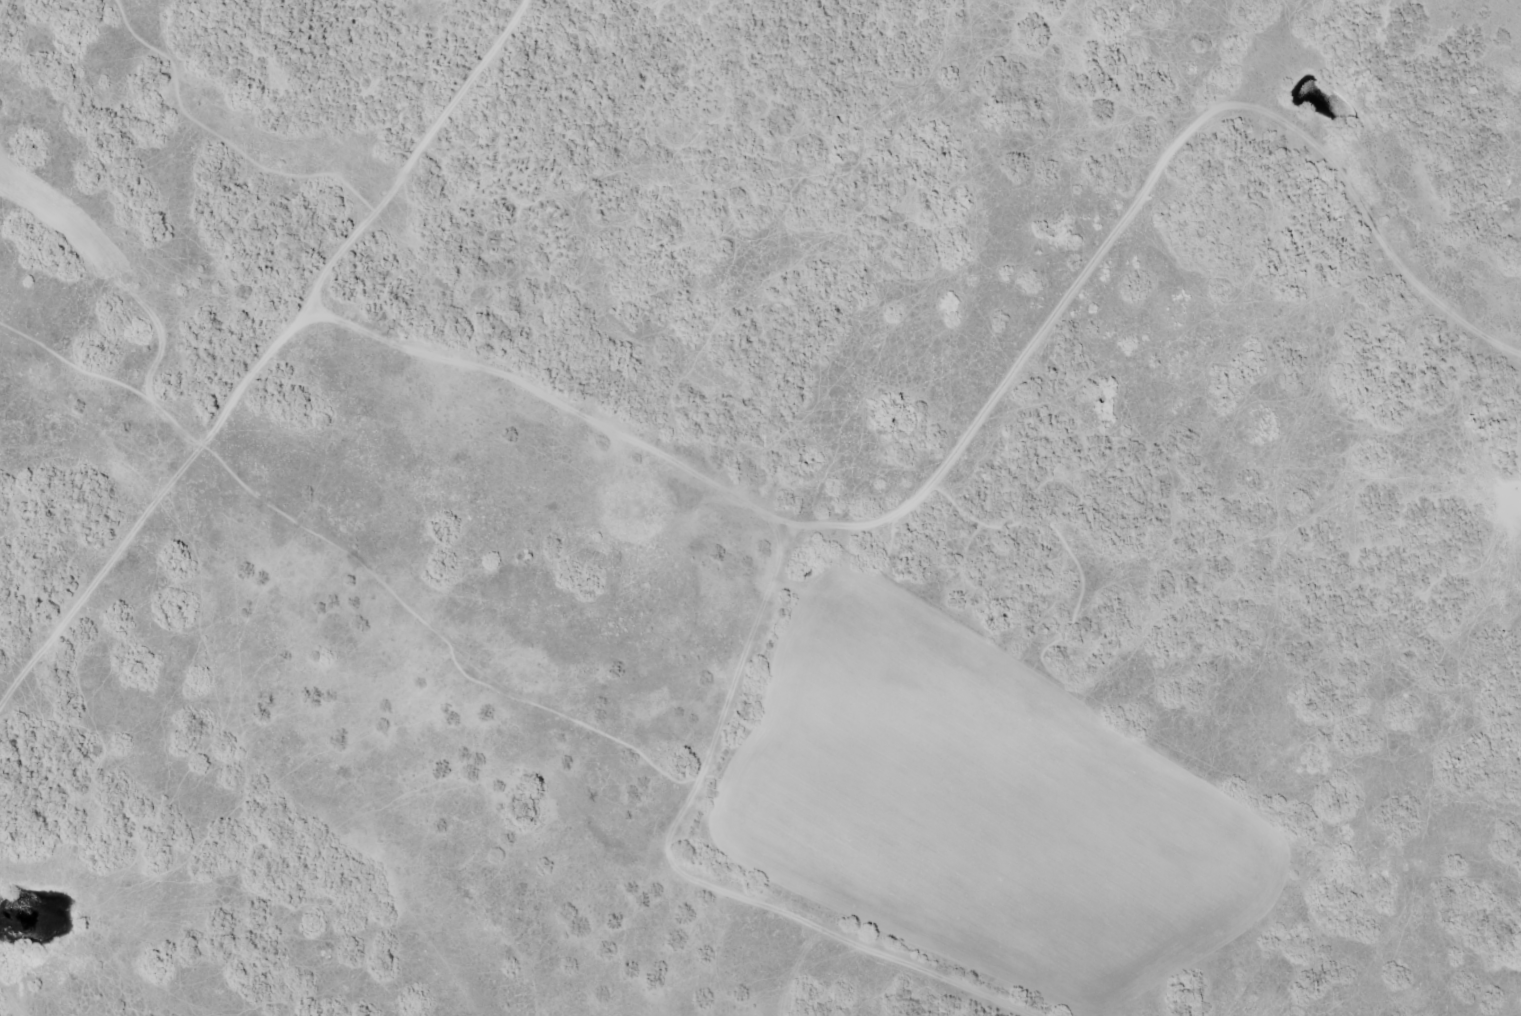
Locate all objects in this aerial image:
road: (520, 754)

